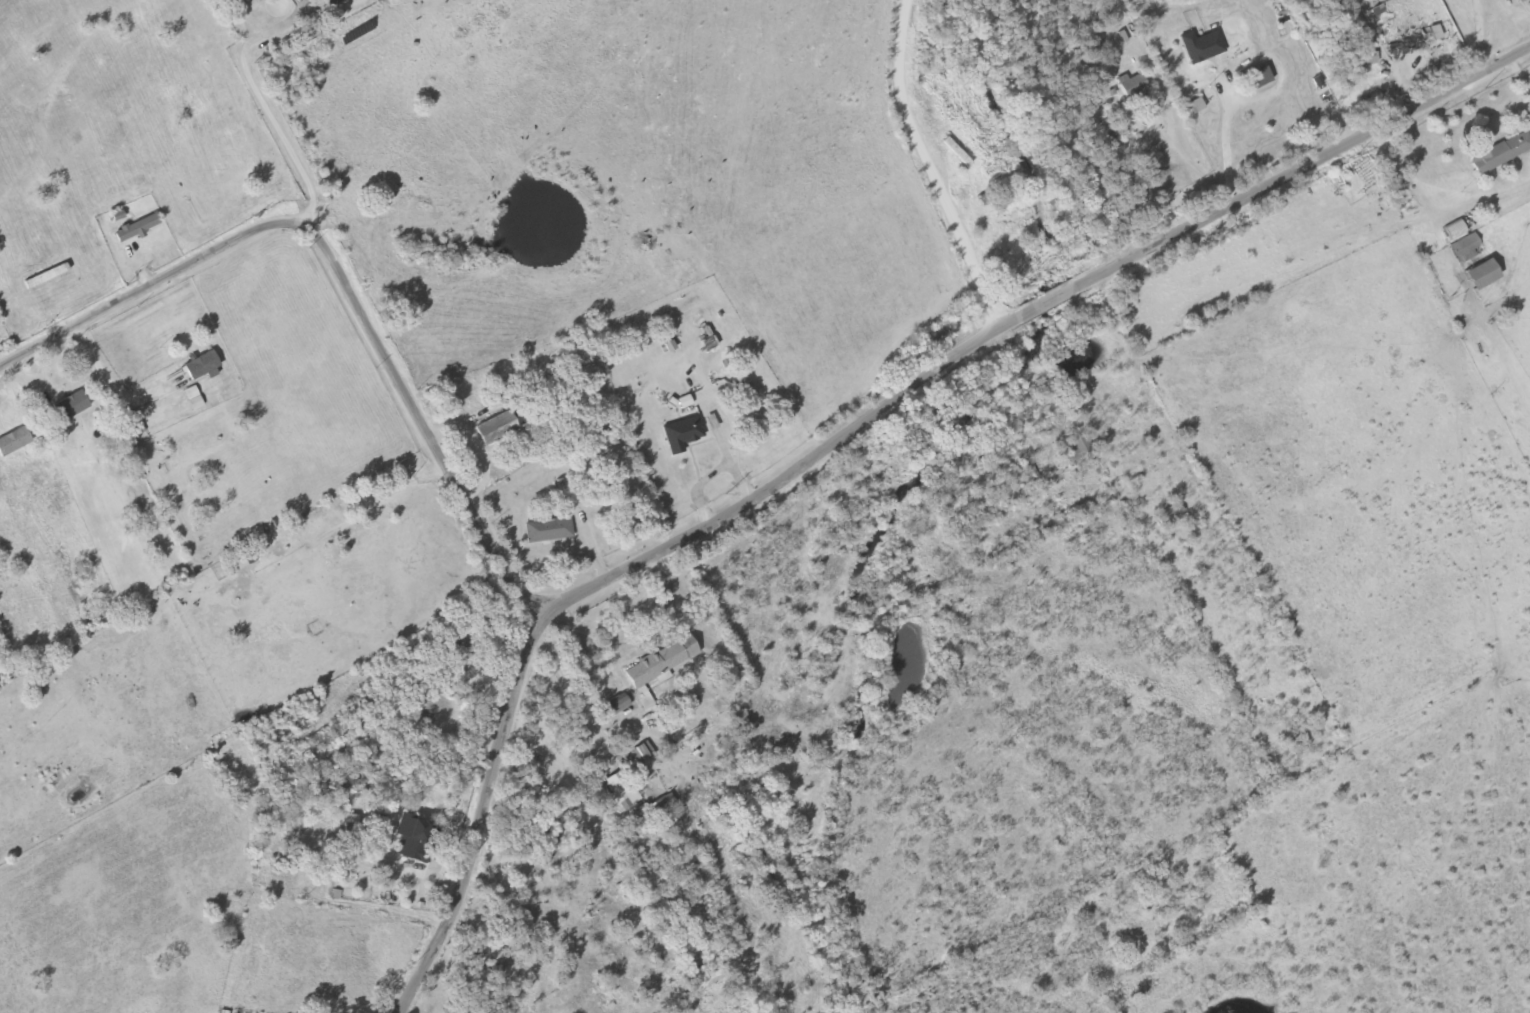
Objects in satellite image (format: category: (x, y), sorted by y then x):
building: (332, 2)
building: (1405, 44)
building: (1201, 46)
building: (1091, 50)
building: (1258, 78)
building: (1132, 86)
building: (957, 153)
building: (1501, 153)
road: (929, 167)
road: (347, 213)
building: (137, 228)
building: (1454, 231)
building: (1466, 248)
road: (336, 264)
building: (1481, 274)
road: (414, 337)
building: (201, 366)
building: (463, 391)
building: (69, 404)
building: (131, 426)
building: (504, 430)
road: (1166, 431)
building: (683, 435)
road: (850, 436)
building: (14, 441)
building: (1077, 449)
building: (1171, 515)
building: (548, 531)
building: (460, 654)
road: (1090, 654)
building: (661, 662)
building: (618, 706)
road: (403, 736)
building: (1302, 746)
building: (642, 753)
building: (622, 790)
building: (662, 806)
building: (354, 831)
building: (304, 837)
building: (416, 839)

